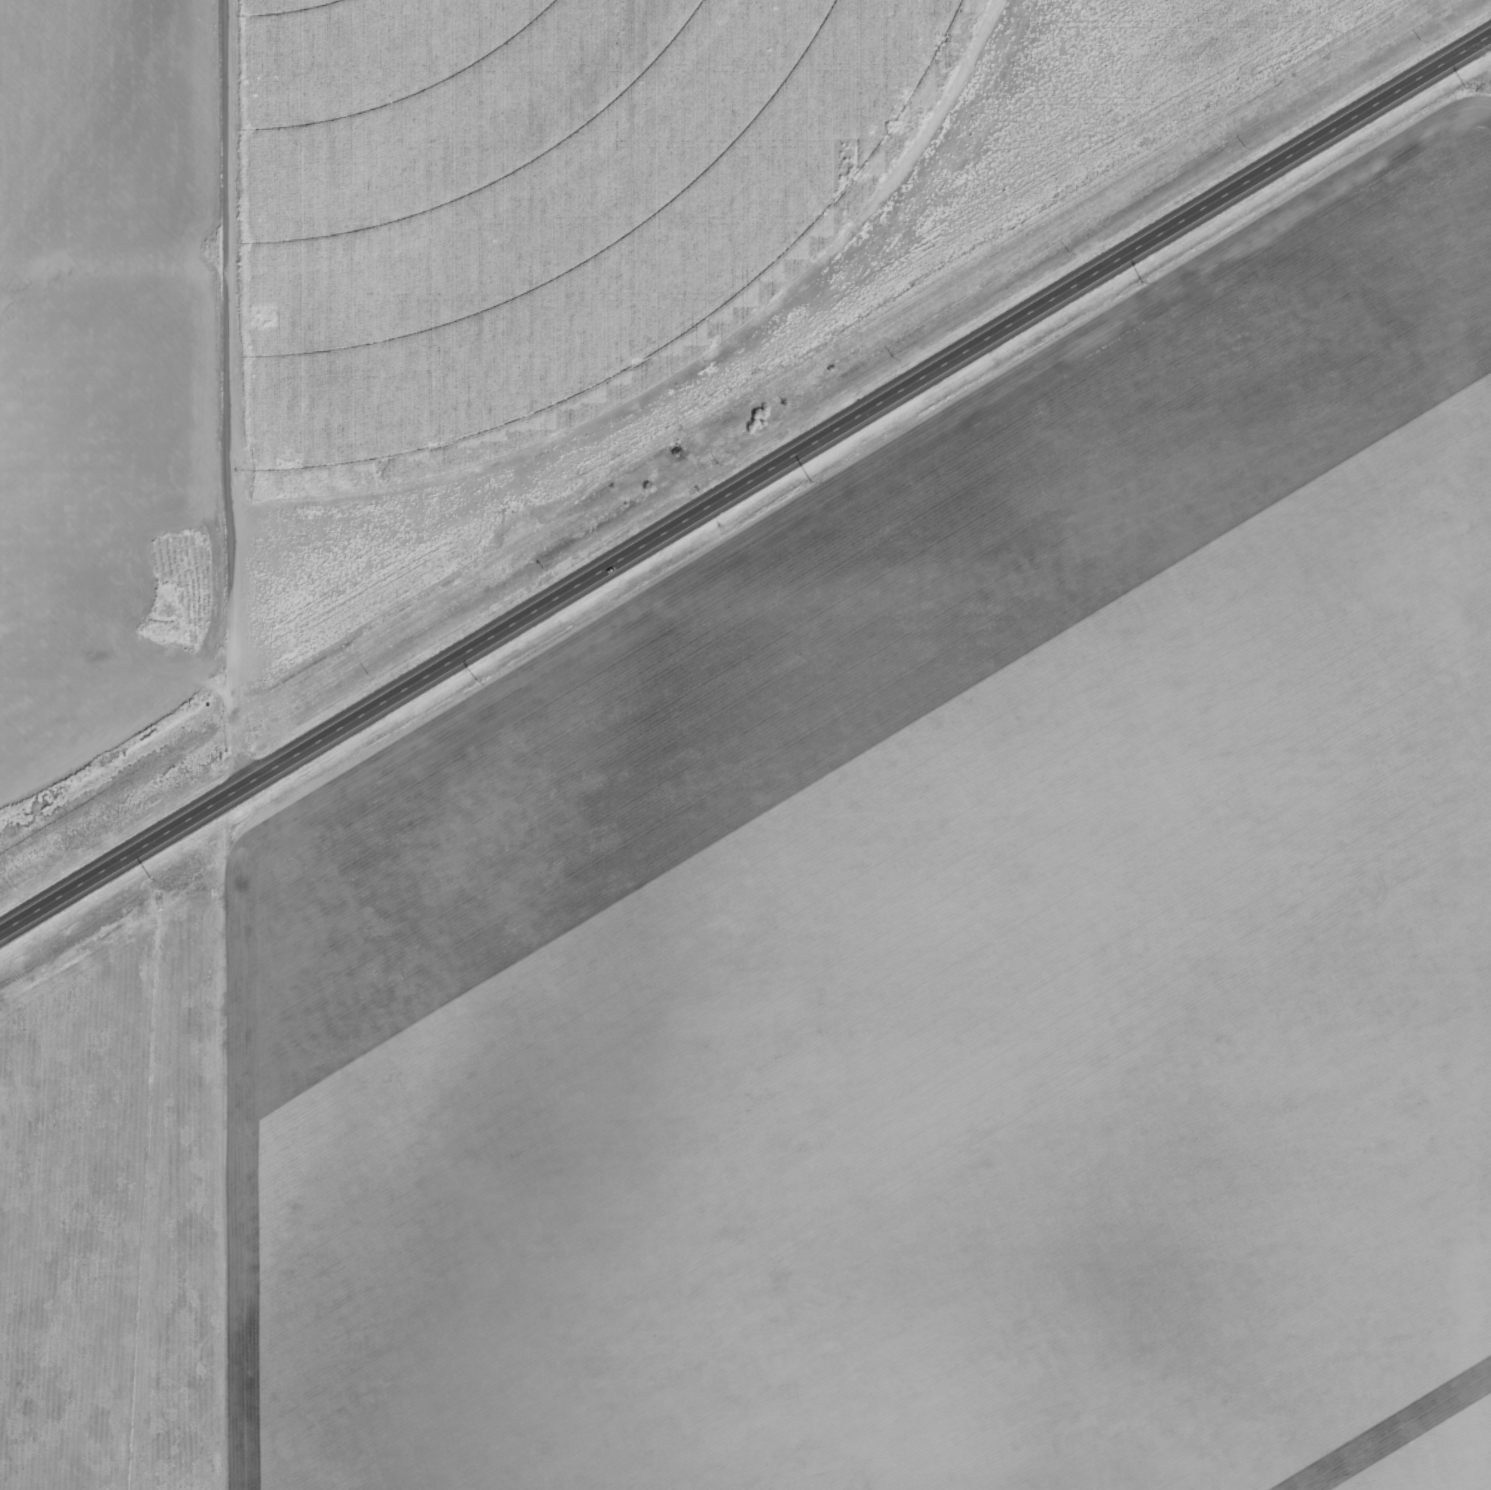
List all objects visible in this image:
power tower: (1459, 84)
power tower: (1140, 280)
power tower: (805, 481)
road: (745, 487)
power tower: (474, 679)
power tower: (147, 875)

